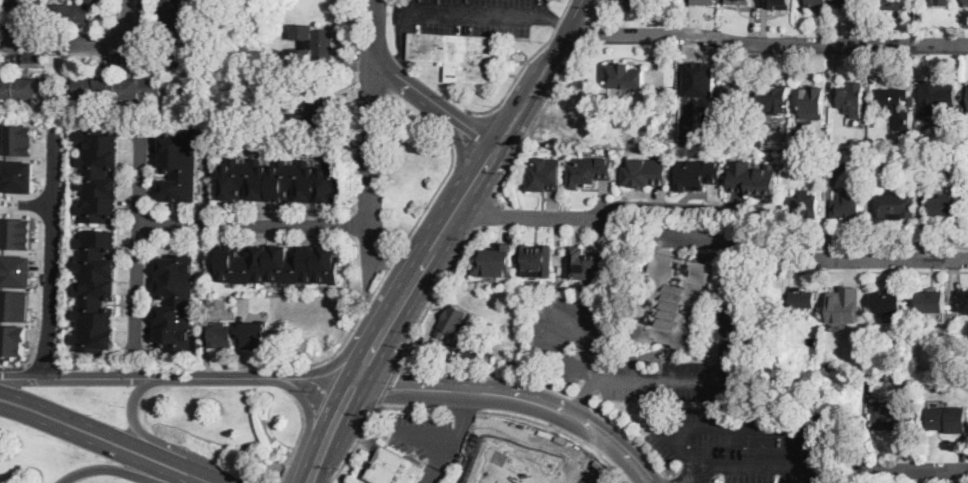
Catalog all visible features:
building: (712, 0)
building: (739, 1)
building: (12, 2)
building: (936, 2)
building: (966, 2)
building: (630, 3)
building: (779, 3)
building: (819, 3)
building: (853, 3)
building: (895, 4)
road: (564, 8)
road: (591, 10)
building: (76, 11)
road: (473, 11)
building: (172, 13)
parking lot: (468, 15)
road: (574, 16)
road: (558, 22)
road: (556, 23)
road: (583, 33)
road: (401, 41)
road: (767, 43)
building: (311, 44)
road: (87, 45)
building: (456, 53)
building: (625, 76)
building: (700, 78)
road: (514, 79)
road: (411, 86)
building: (24, 87)
building: (117, 87)
building: (737, 96)
building: (775, 96)
building: (937, 97)
building: (852, 99)
building: (812, 101)
building: (967, 101)
building: (895, 106)
building: (310, 110)
road: (532, 127)
building: (683, 137)
building: (20, 139)
building: (760, 142)
building: (827, 143)
road: (370, 154)
building: (805, 156)
building: (179, 165)
building: (854, 165)
building: (944, 166)
building: (590, 170)
building: (646, 171)
building: (99, 173)
building: (697, 174)
building: (546, 175)
building: (19, 176)
building: (753, 178)
building: (280, 181)
building: (804, 205)
building: (895, 205)
building: (945, 207)
building: (845, 208)
road: (487, 214)
road: (597, 216)
road: (256, 225)
building: (17, 233)
road: (140, 243)
road: (879, 245)
road: (432, 249)
road: (50, 252)
road: (394, 255)
building: (496, 260)
building: (535, 260)
road: (879, 260)
building: (587, 263)
building: (279, 264)
building: (16, 271)
road: (879, 271)
building: (96, 290)
road: (437, 290)
building: (802, 299)
building: (675, 301)
building: (965, 301)
building: (210, 302)
building: (889, 302)
building: (932, 303)
building: (175, 304)
building: (843, 304)
building: (16, 306)
building: (453, 322)
parking lot: (571, 332)
building: (254, 334)
building: (221, 335)
building: (13, 339)
road: (726, 348)
building: (477, 354)
road: (590, 365)
road: (328, 367)
road: (488, 370)
road: (80, 376)
road: (213, 377)
building: (870, 383)
road: (387, 385)
road: (514, 396)
road: (582, 398)
road: (584, 398)
road: (303, 401)
road: (414, 406)
road: (464, 410)
building: (892, 416)
building: (947, 419)
road: (459, 421)
road: (801, 426)
road: (137, 428)
road: (110, 431)
road: (300, 431)
road: (561, 431)
road: (631, 435)
parking lot: (433, 441)
parking lot: (746, 443)
road: (354, 444)
road: (104, 446)
road: (439, 446)
building: (511, 467)
building: (397, 468)
road: (921, 469)
road: (124, 471)
road: (286, 474)
road: (700, 476)
road: (310, 479)
road: (669, 479)
road: (698, 481)
road: (329, 482)

